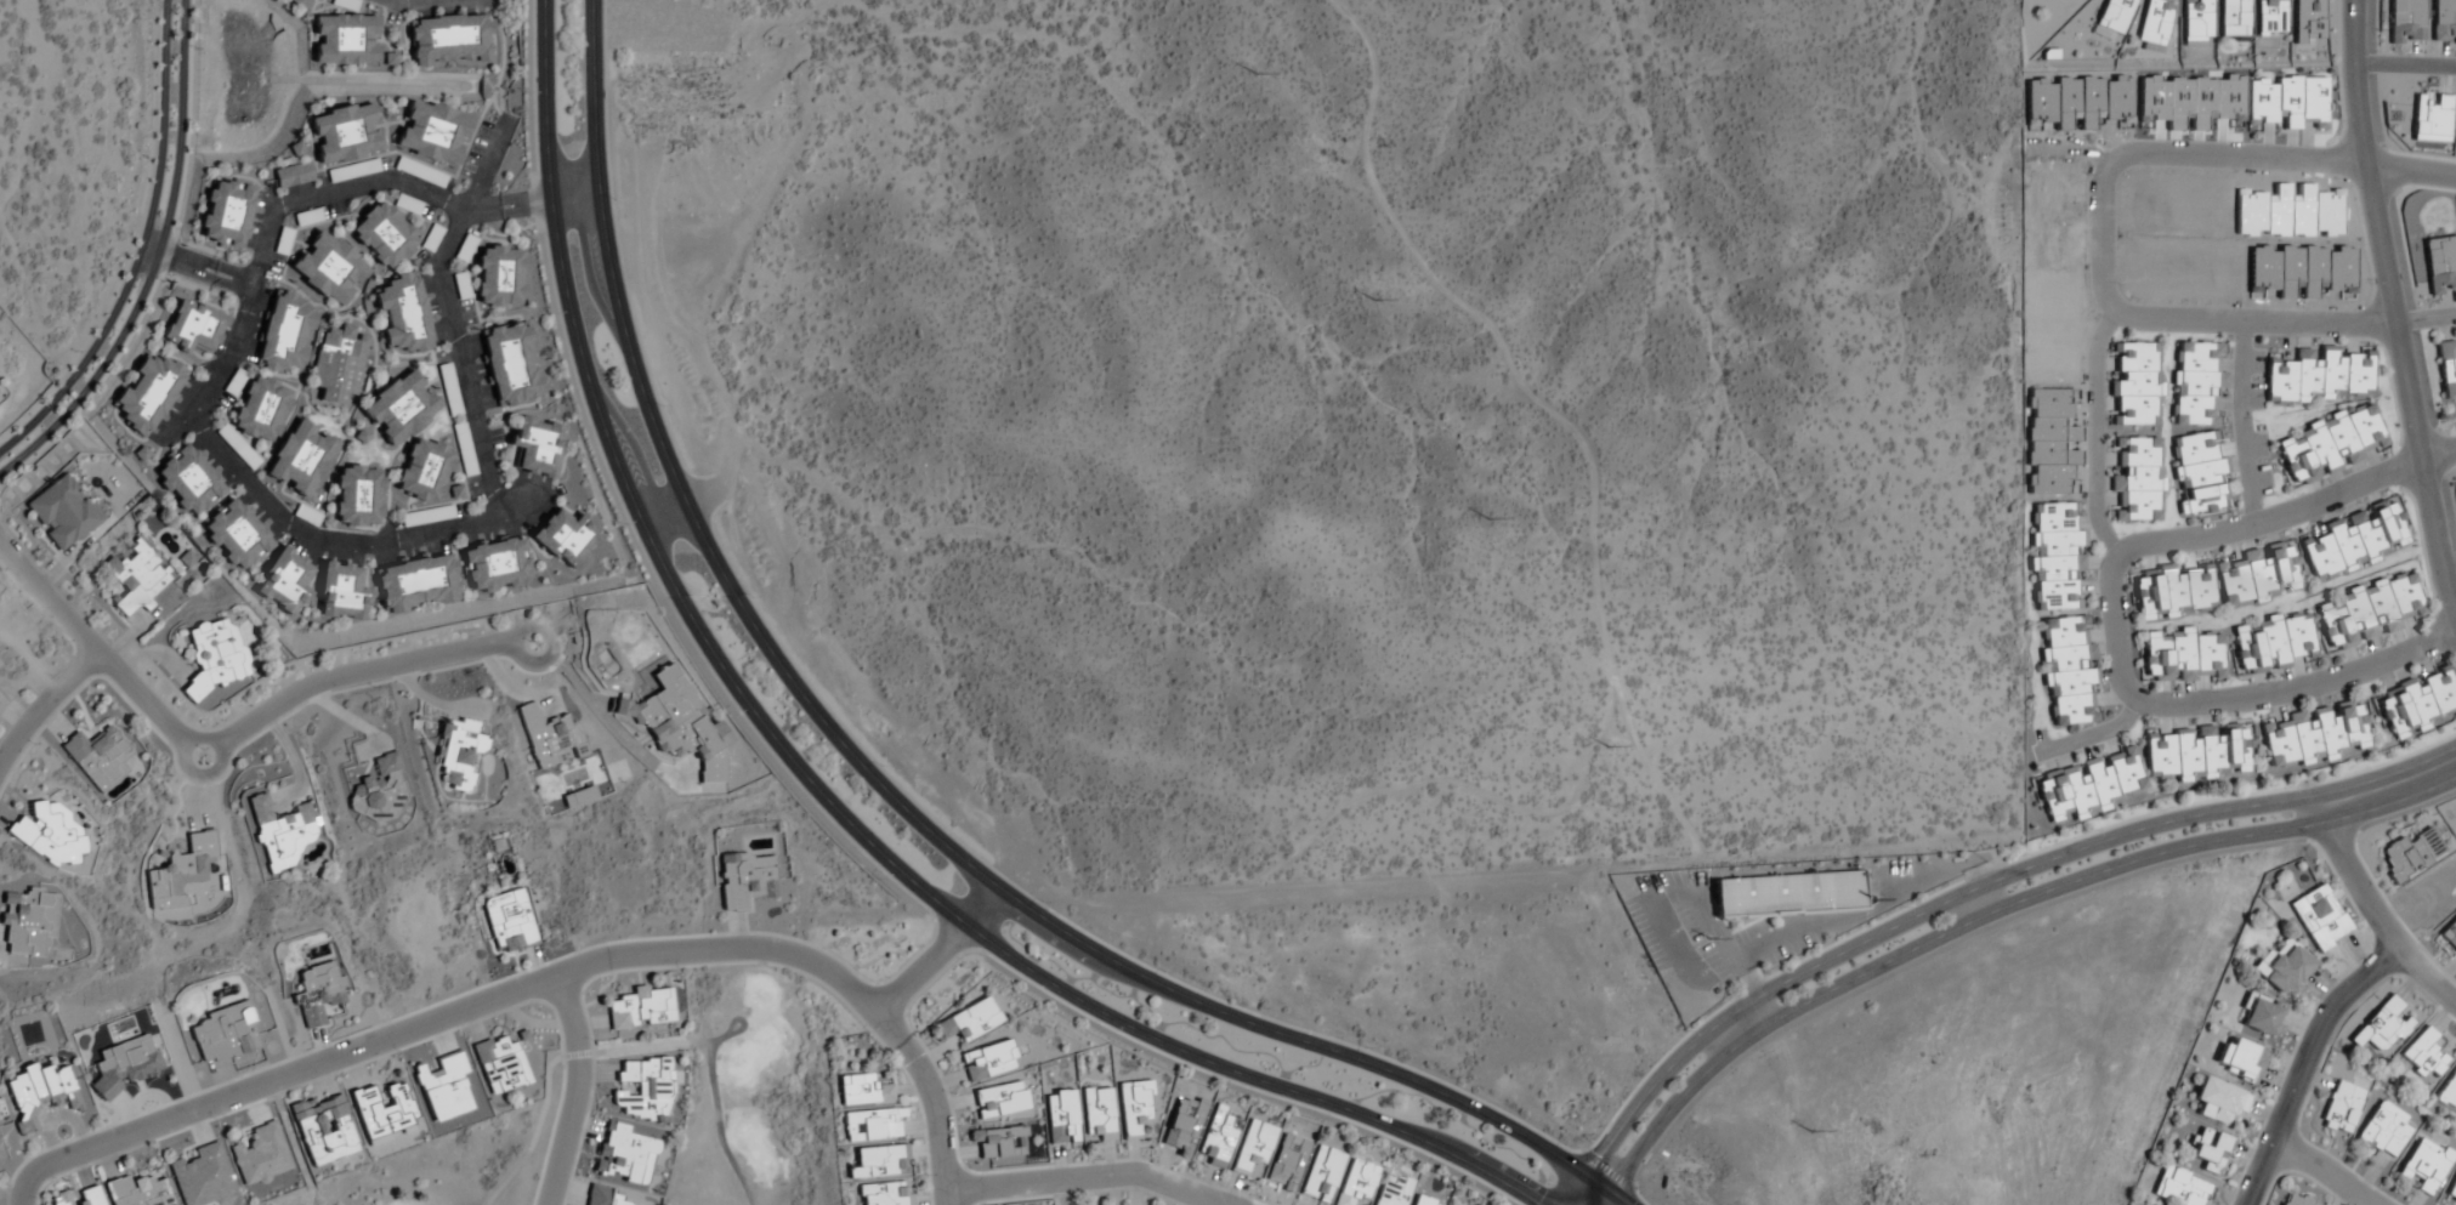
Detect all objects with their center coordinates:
building: (2114, 16)
building: (2269, 16)
building: (2233, 17)
building: (2307, 19)
building: (2196, 21)
building: (2405, 21)
building: (2444, 21)
building: (2154, 22)
building: (448, 39)
building: (344, 40)
road: (2404, 63)
power tower: (1253, 75)
building: (2287, 101)
building: (2431, 116)
street lamp: (2339, 120)
road: (178, 124)
building: (432, 132)
building: (344, 133)
road: (2070, 146)
street lamp: (2086, 174)
building: (293, 175)
road: (573, 197)
street lamp: (613, 199)
road: (2102, 201)
road: (505, 209)
building: (225, 212)
building: (382, 235)
road: (138, 248)
road: (148, 250)
road: (204, 262)
building: (2440, 263)
building: (329, 269)
road: (200, 275)
building: (498, 278)
street lamp: (2370, 283)
street lamp: (2118, 285)
power tower: (1373, 302)
road: (2393, 311)
street lamp: (548, 312)
building: (402, 316)
road: (2426, 318)
building: (192, 328)
building: (287, 335)
building: (510, 365)
building: (338, 366)
building: (2446, 368)
road: (96, 373)
building: (2318, 375)
building: (2195, 382)
building: (2134, 383)
building: (149, 392)
street lamp: (660, 407)
building: (401, 408)
building: (261, 411)
street lamp: (2256, 421)
road: (2240, 422)
street lamp: (2397, 427)
road: (2094, 432)
building: (2330, 444)
building: (535, 445)
building: (463, 450)
building: (301, 460)
building: (424, 471)
building: (2197, 472)
building: (2137, 479)
building: (188, 482)
road: (246, 487)
building: (454, 491)
building: (358, 496)
building: (61, 513)
power tower: (1485, 521)
street lamp: (618, 524)
building: (237, 538)
building: (563, 538)
building: (2354, 539)
building: (2057, 553)
road: (2448, 561)
building: (494, 567)
building: (2257, 575)
building: (135, 576)
building: (285, 582)
building: (418, 584)
building: (2173, 591)
building: (341, 592)
street lamp: (751, 597)
street lamp: (2432, 604)
building: (2365, 612)
road: (2112, 620)
street lamp: (63, 641)
building: (2273, 642)
building: (216, 655)
building: (2182, 655)
building: (2069, 669)
building: (2415, 704)
road: (46, 707)
street lamp: (730, 715)
road: (12, 716)
road: (2094, 733)
building: (2313, 734)
building: (549, 735)
street lamp: (32, 744)
road: (228, 744)
power tower: (1609, 749)
building: (2199, 751)
building: (455, 755)
building: (98, 757)
street lamp: (880, 766)
road: (872, 778)
road: (811, 784)
street lamp: (2287, 785)
building: (2091, 786)
road: (2390, 789)
building: (378, 790)
building: (57, 829)
street lamp: (2092, 830)
building: (279, 832)
building: (2410, 854)
building: (180, 871)
street lamp: (879, 876)
building: (743, 877)
building: (1789, 892)
street lamp: (1042, 903)
street lamp: (1902, 906)
road: (2376, 914)
road: (1915, 915)
building: (2319, 916)
building: (507, 921)
building: (27, 923)
building: (2449, 936)
power tower: (1708, 939)
road: (1930, 939)
road: (940, 950)
building: (2282, 967)
street lamp: (681, 971)
street lamp: (1164, 972)
street lamp: (2333, 979)
road: (541, 985)
street lamp: (1027, 991)
building: (316, 993)
building: (641, 1007)
building: (2261, 1014)
building: (969, 1021)
building: (2384, 1025)
street lamp: (1686, 1030)
street lamp: (866, 1031)
building: (225, 1033)
road: (716, 1034)
street lamp: (592, 1041)
road: (628, 1044)
street lamp: (1366, 1048)
street lamp: (397, 1052)
building: (2424, 1055)
building: (2240, 1059)
building: (988, 1061)
road: (2303, 1062)
building: (123, 1064)
building: (500, 1064)
building: (645, 1087)
park: (751, 1087)
building: (443, 1089)
building: (862, 1090)
road: (572, 1091)
street lamp: (1232, 1091)
building: (2449, 1091)
building: (36, 1092)
street lamp: (948, 1092)
building: (1000, 1099)
building: (2219, 1101)
building: (1134, 1108)
building: (2339, 1108)
building: (384, 1112)
building: (1096, 1114)
building: (1060, 1116)
street lamp: (215, 1120)
building: (877, 1122)
building: (324, 1129)
building: (2383, 1130)
power tower: (1809, 1133)
building: (1218, 1137)
street lamp: (1565, 1144)
building: (1250, 1147)
building: (2208, 1149)
building: (261, 1154)
building: (624, 1155)
street lamp: (1083, 1160)
building: (879, 1161)
building: (2424, 1164)
street lamp: (1434, 1167)
road: (2324, 1169)
building: (1321, 1173)
building: (202, 1176)
road: (1084, 1178)
building: (1355, 1183)
building: (2178, 1187)
road: (1576, 1189)
building: (2452, 1189)
building: (1391, 1190)
building: (138, 1192)
building: (884, 1194)
building: (78, 1197)
building: (602, 1197)
street lamp: (1254, 1197)
road: (1618, 1197)
road: (1603, 1198)
building: (2295, 1199)
street lamp: (39, 1200)
building: (1423, 1200)
building: (1479, 1204)

